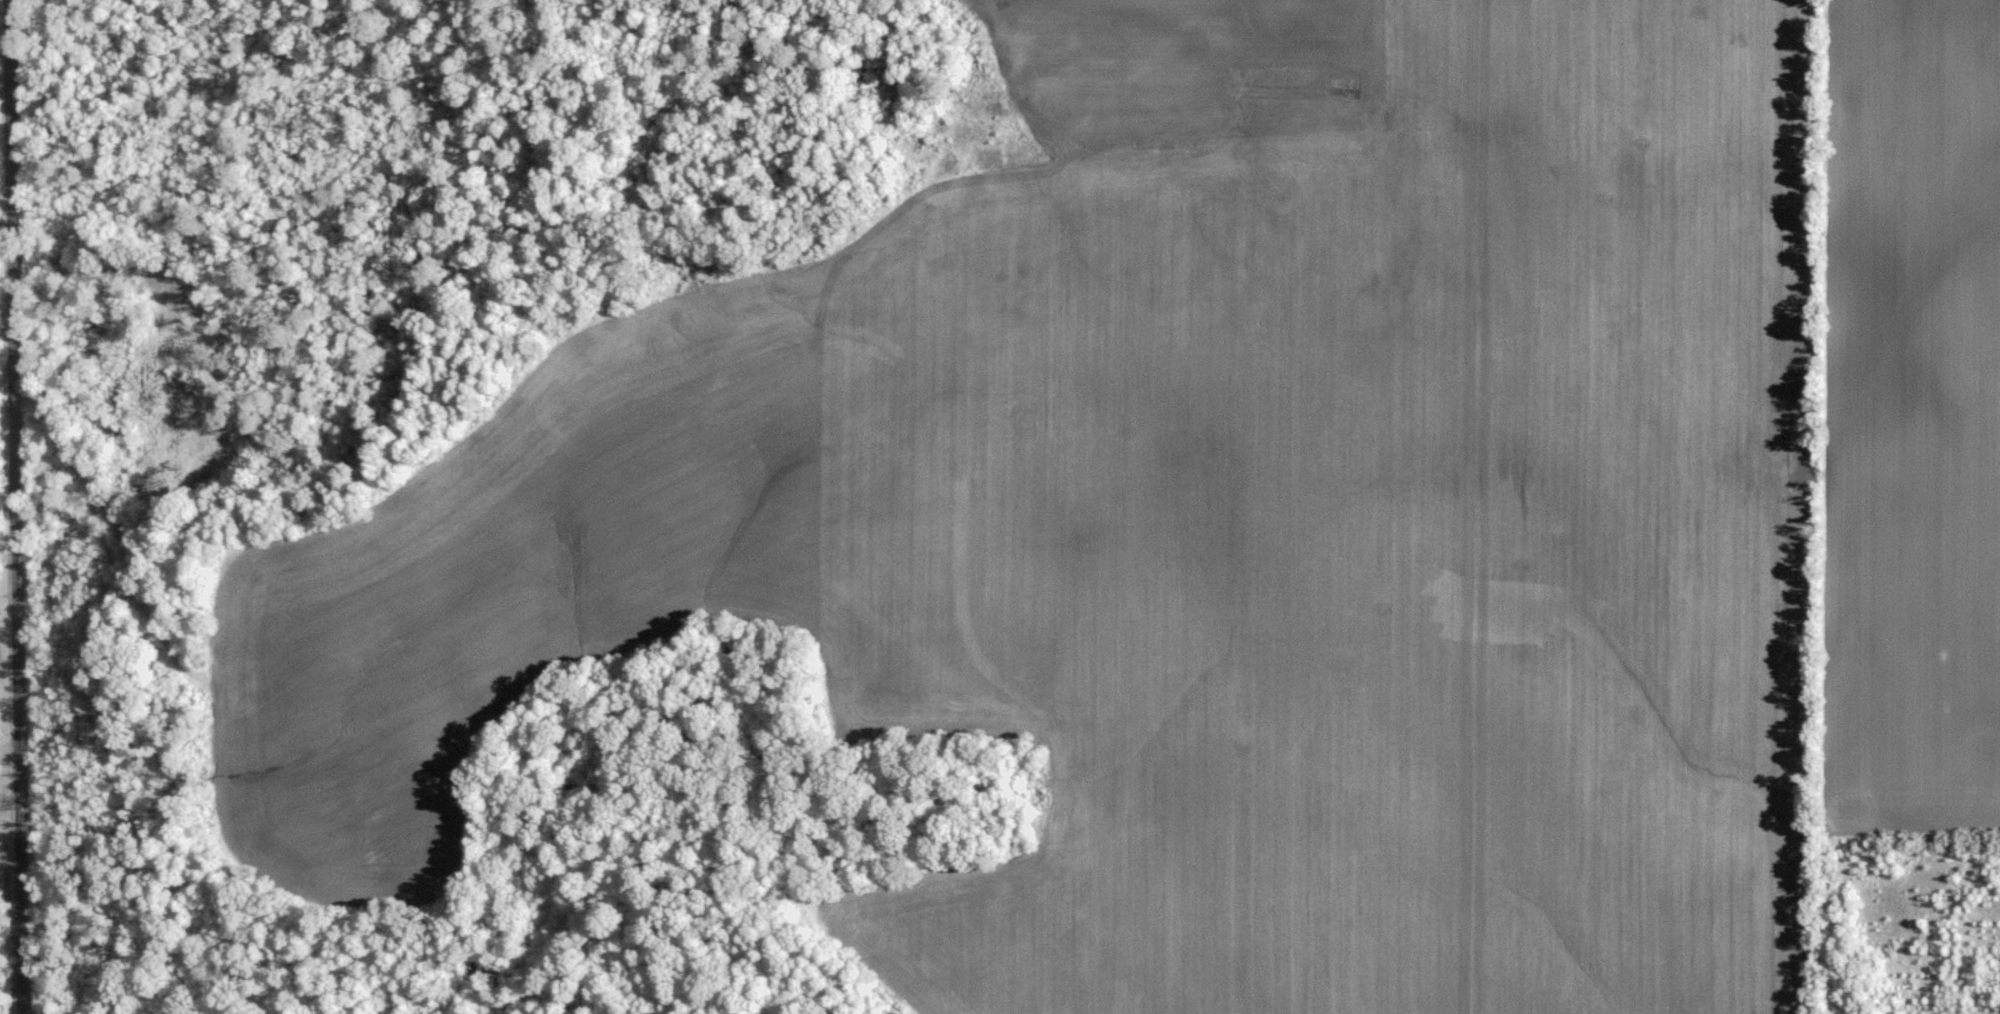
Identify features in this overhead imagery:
road: (14, 507)
road: (9, 748)

